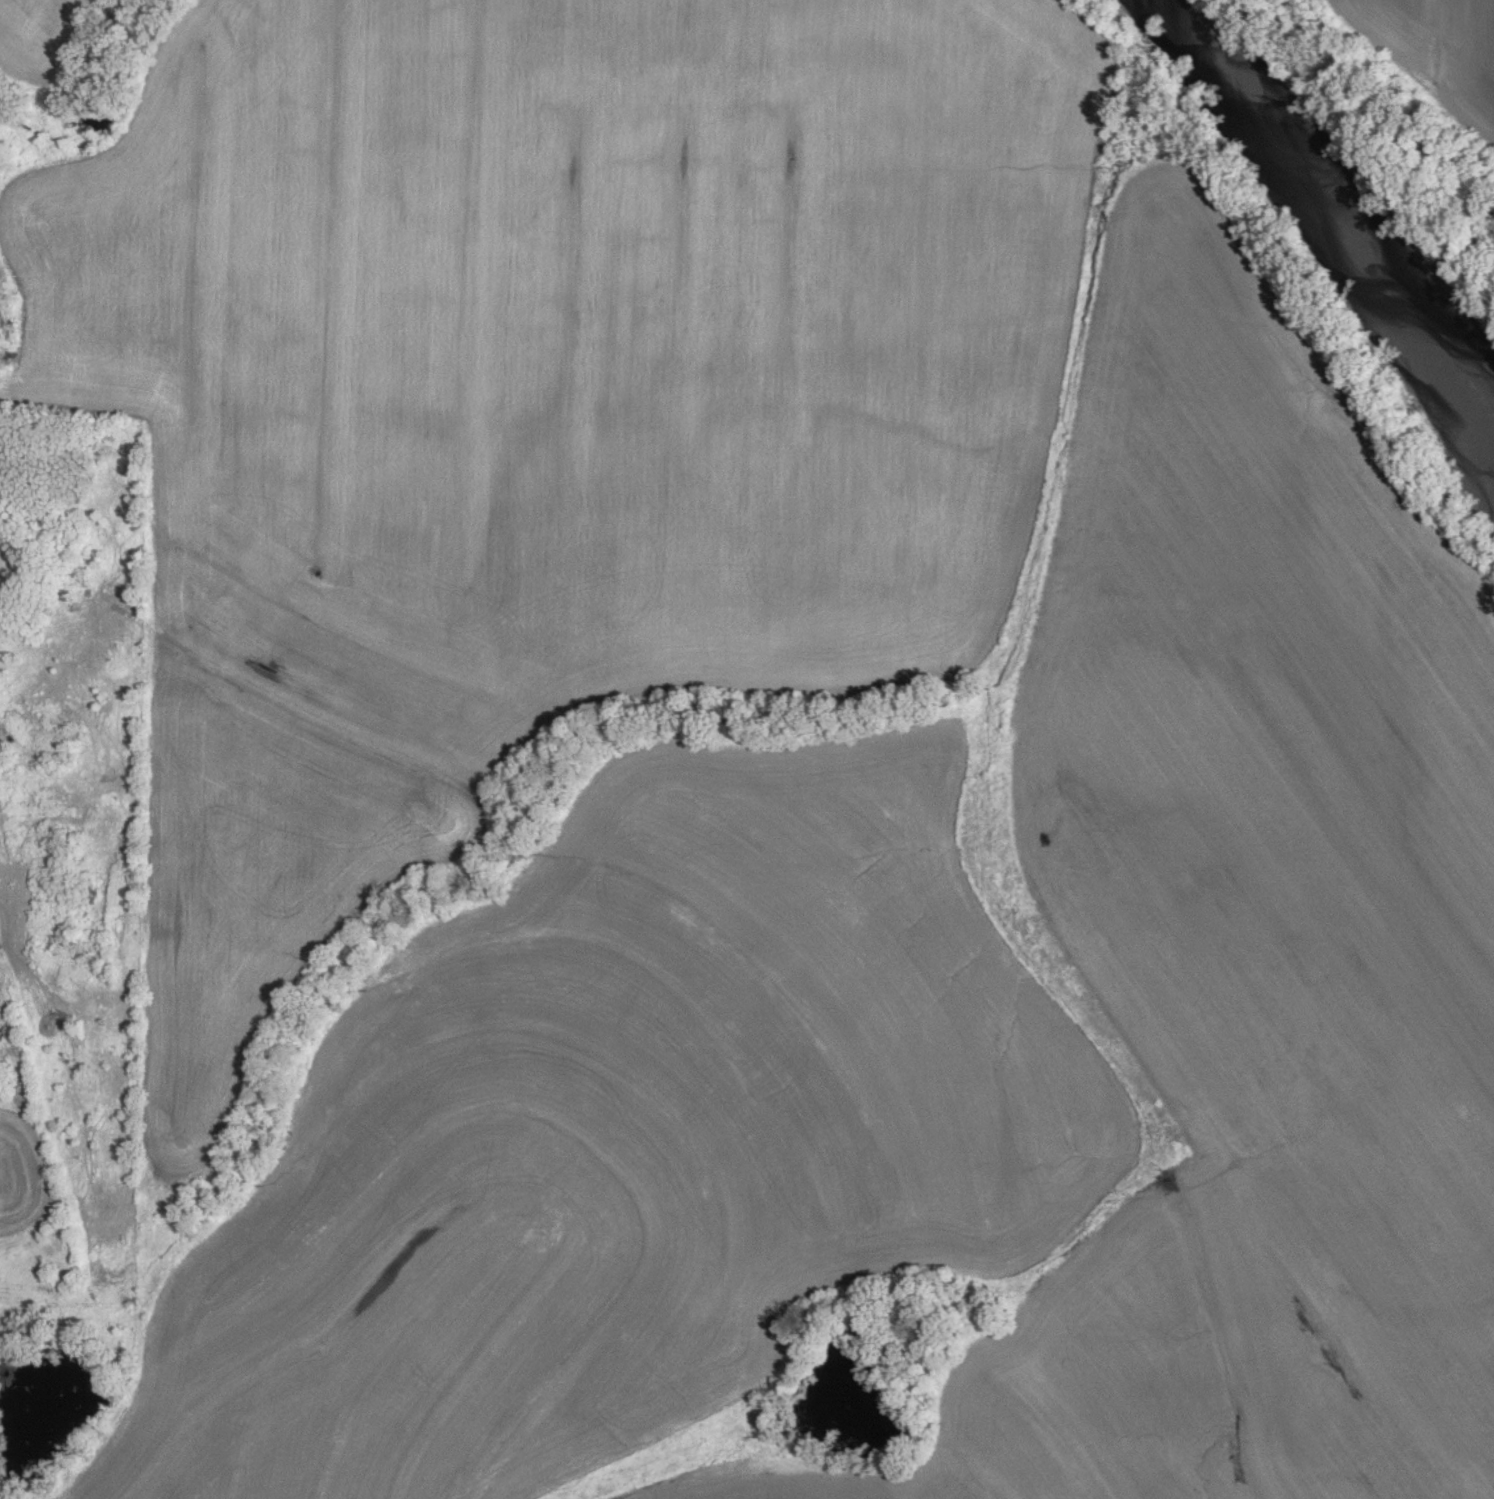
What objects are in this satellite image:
river: (1345, 224)

